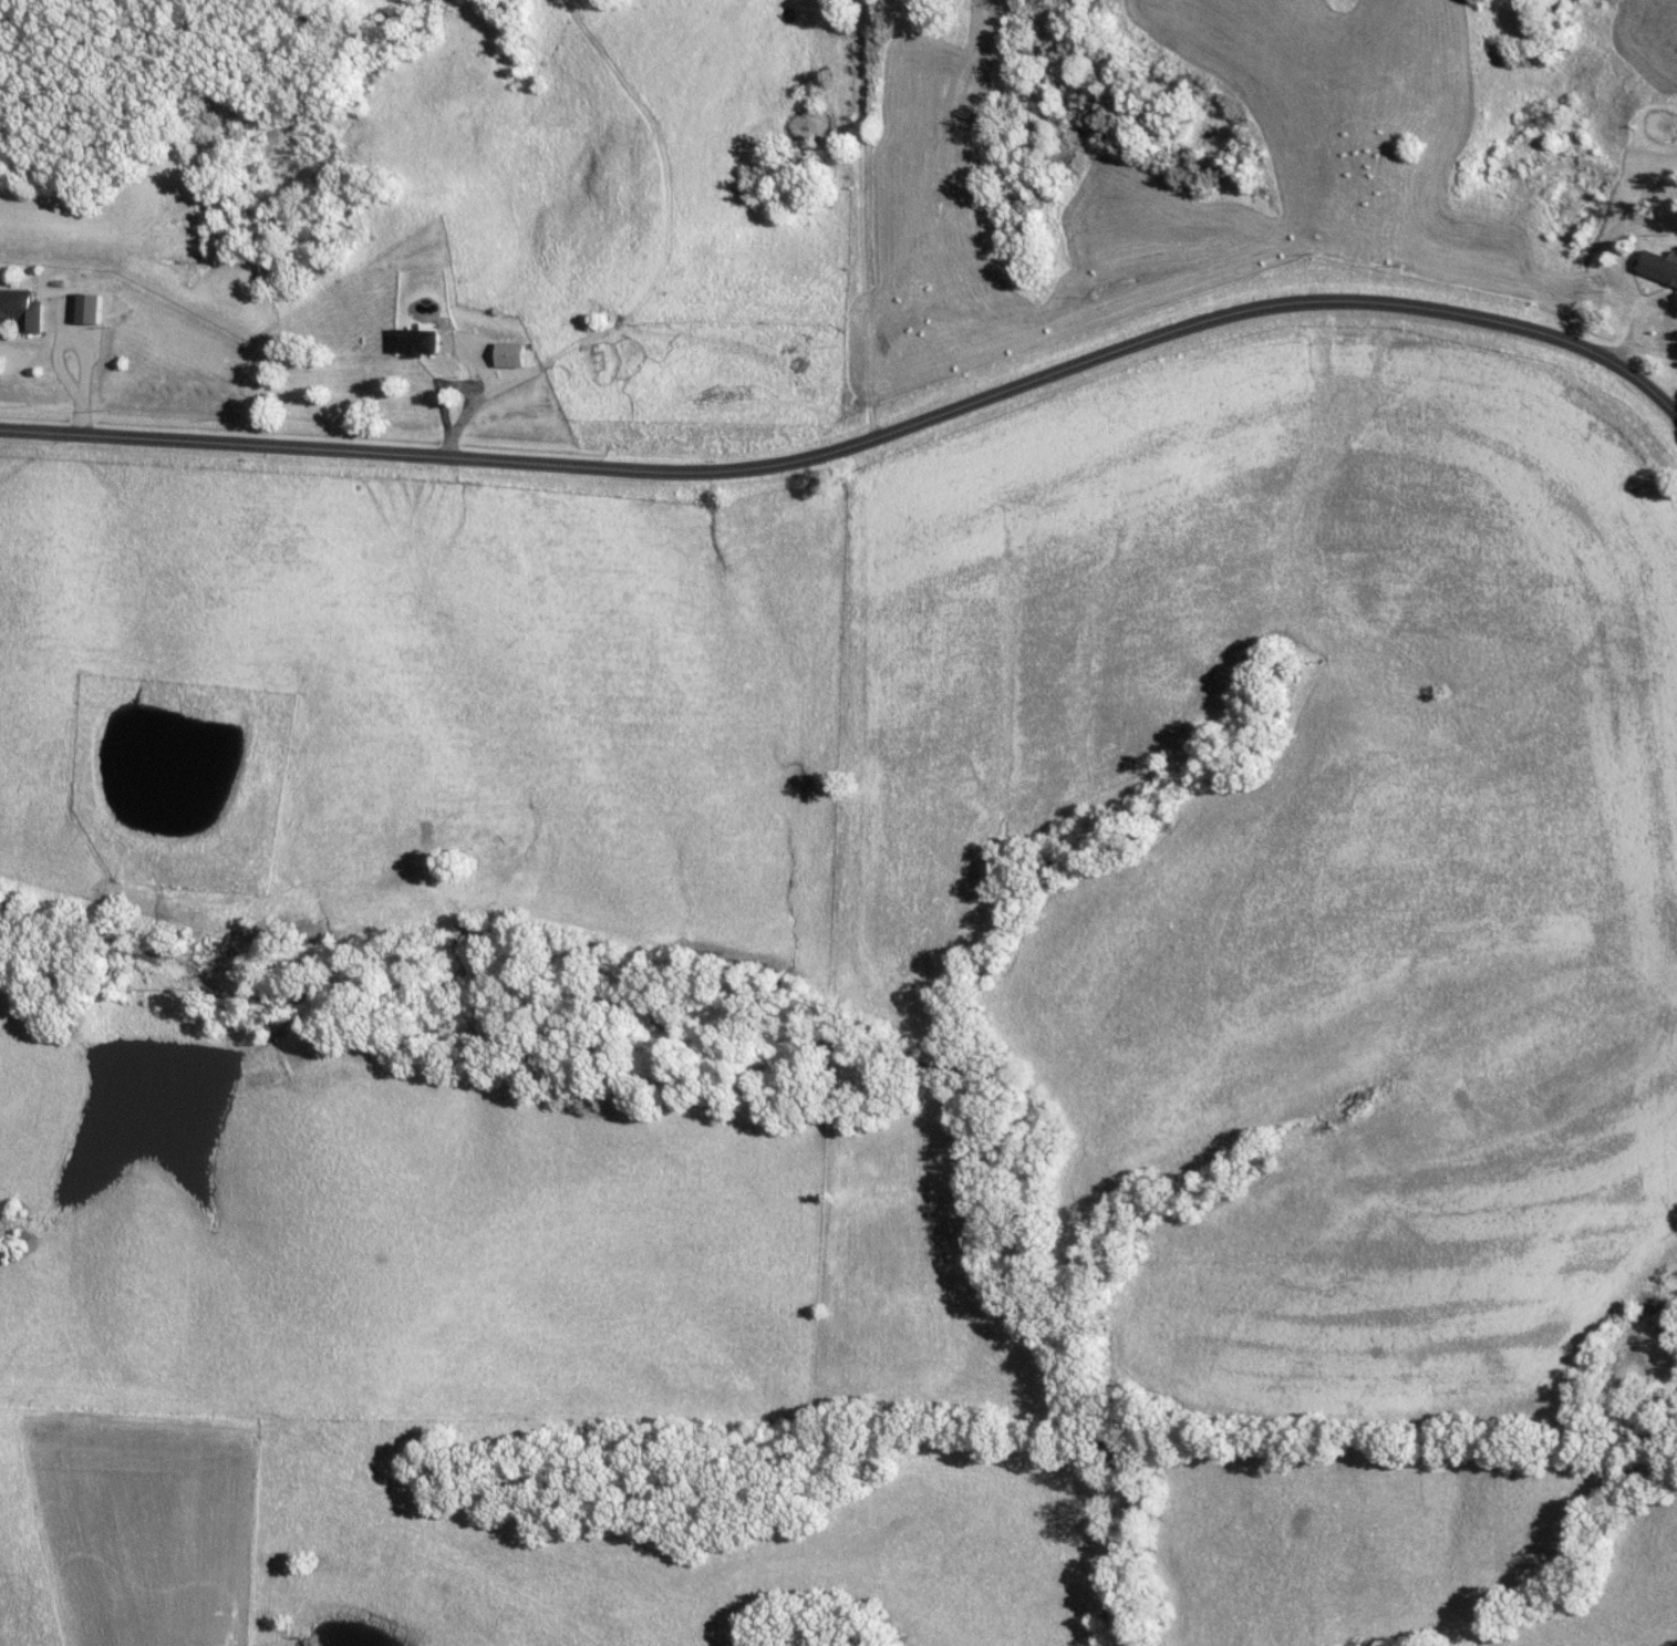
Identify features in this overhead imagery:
road: (918, 218)
road: (662, 239)
building: (1662, 268)
building: (92, 310)
building: (22, 311)
building: (417, 344)
road: (1640, 352)
road: (454, 379)
road: (862, 442)

